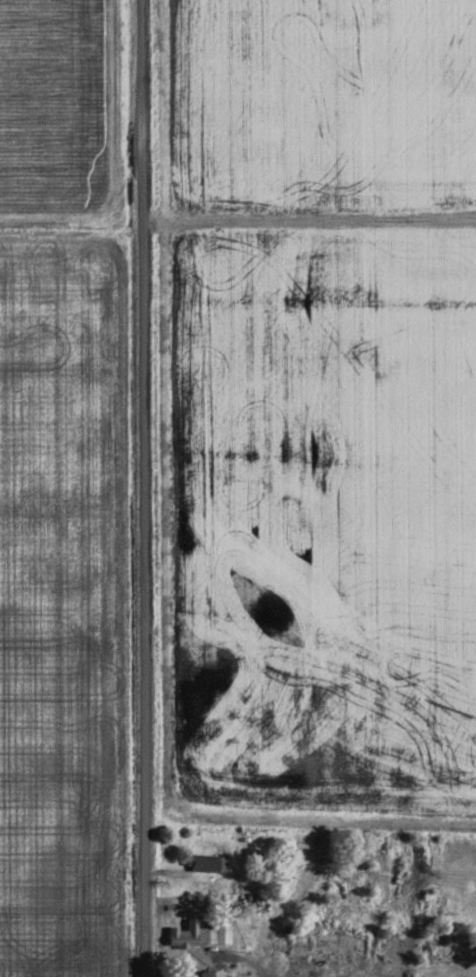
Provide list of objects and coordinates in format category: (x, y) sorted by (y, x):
road: (144, 488)
building: (204, 862)
building: (244, 891)
building: (217, 931)
building: (185, 934)
building: (314, 944)
building: (207, 974)

